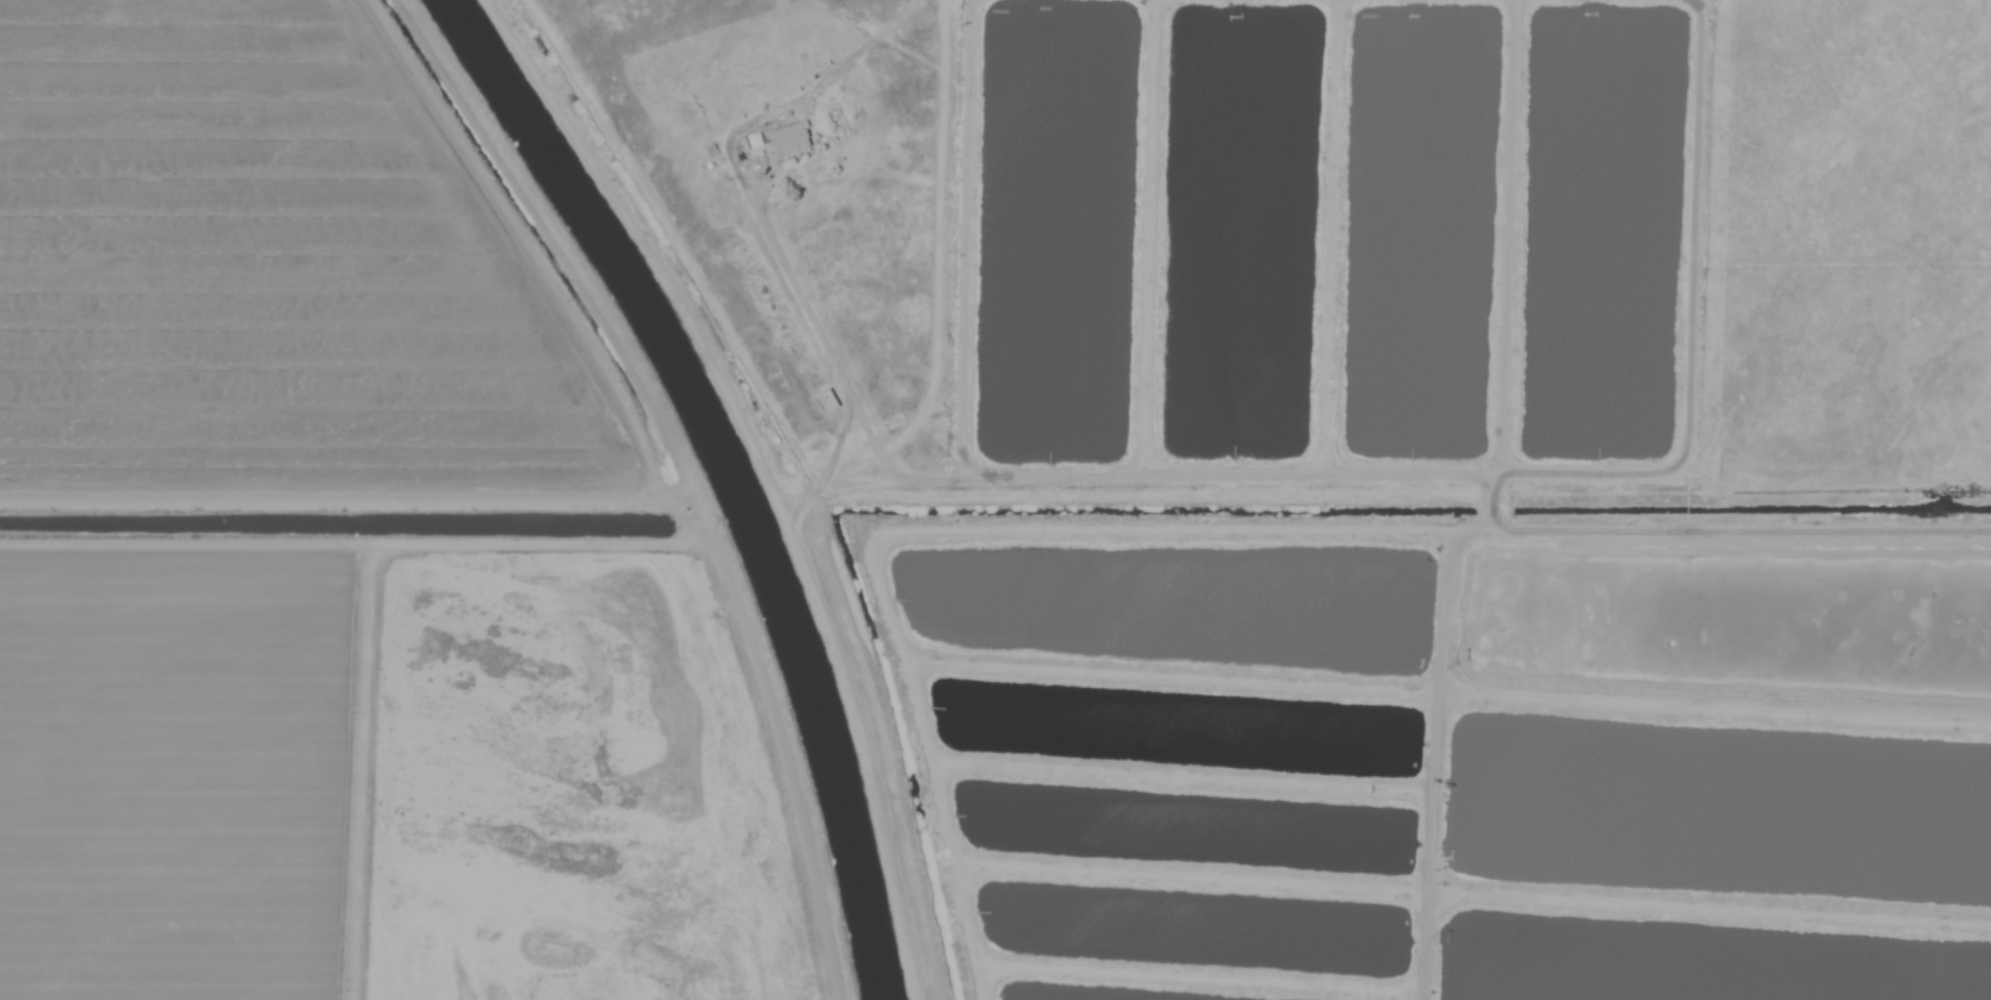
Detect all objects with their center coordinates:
building: (789, 140)
building: (751, 142)
crop: (298, 282)
road: (797, 289)
building: (828, 401)
road: (850, 691)

